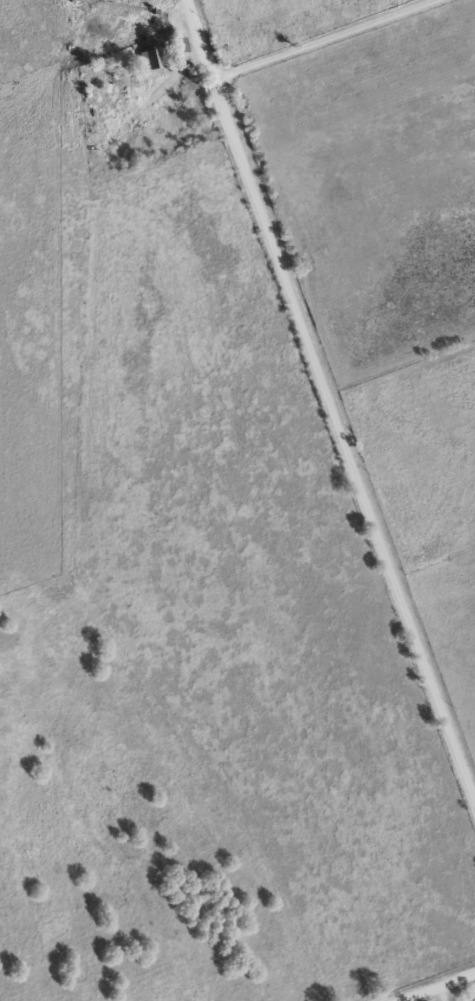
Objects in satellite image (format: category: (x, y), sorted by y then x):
road: (118, 19)
building: (176, 46)
road: (340, 50)
building: (149, 59)
road: (325, 413)
road: (429, 983)
road: (428, 992)

